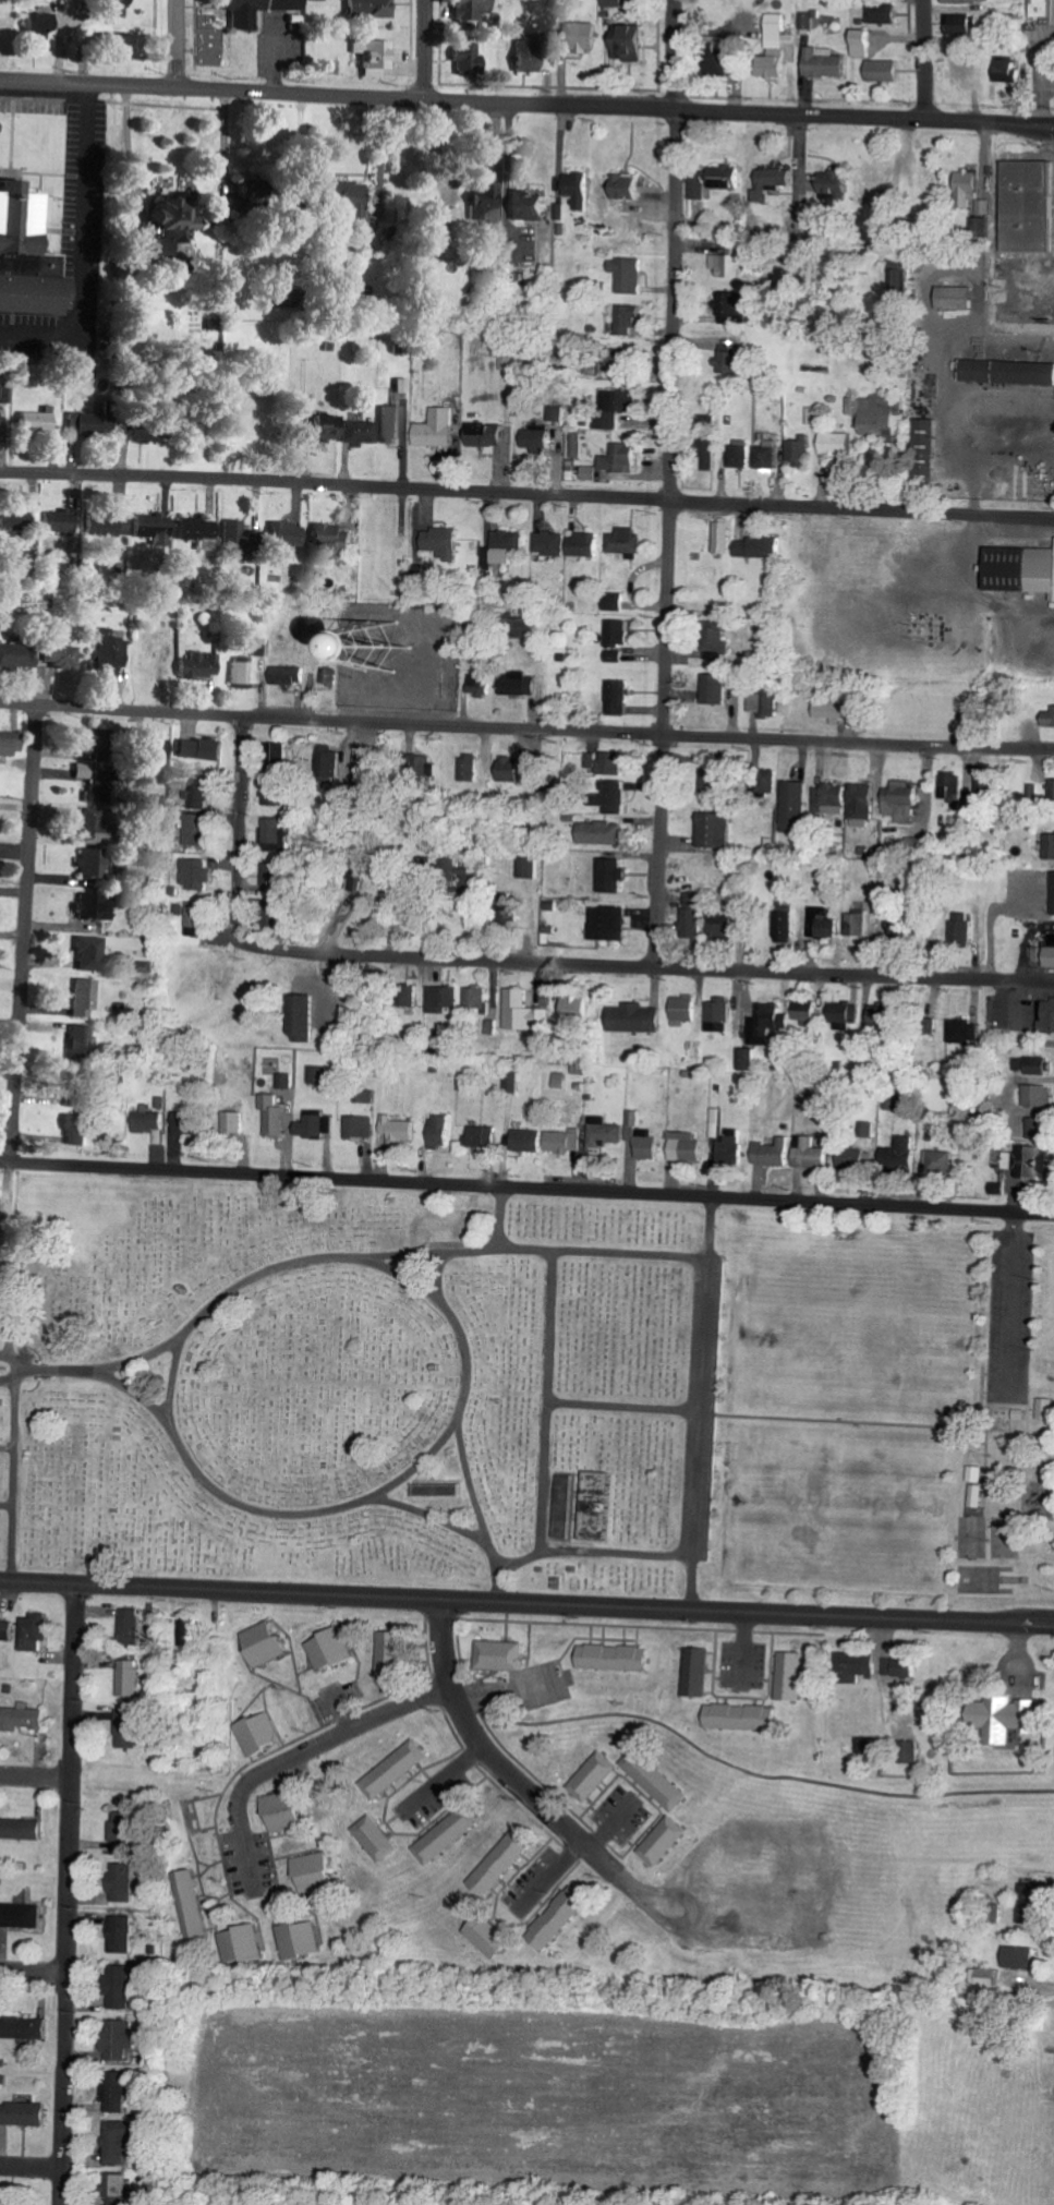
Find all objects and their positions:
building: (968, 1)
building: (121, 8)
building: (372, 9)
building: (1046, 9)
building: (475, 10)
building: (884, 15)
building: (244, 21)
building: (43, 24)
building: (967, 26)
building: (589, 32)
building: (122, 43)
building: (631, 43)
road: (175, 44)
building: (863, 44)
building: (777, 48)
road: (431, 49)
building: (377, 57)
building: (537, 57)
road: (922, 59)
building: (471, 60)
building: (725, 60)
building: (825, 63)
building: (1007, 70)
building: (884, 71)
road: (215, 89)
road: (742, 111)
building: (726, 178)
building: (772, 184)
building: (699, 186)
building: (837, 186)
building: (634, 189)
building: (257, 190)
building: (576, 196)
building: (347, 197)
building: (487, 206)
building: (531, 207)
building: (174, 224)
road: (82, 249)
building: (27, 256)
building: (731, 263)
building: (898, 274)
building: (629, 275)
building: (1004, 275)
building: (959, 298)
building: (735, 308)
building: (631, 321)
building: (504, 349)
building: (732, 363)
building: (1009, 373)
building: (616, 408)
building: (0, 414)
building: (882, 415)
building: (39, 421)
building: (94, 424)
building: (393, 424)
building: (329, 427)
building: (439, 429)
building: (141, 432)
building: (361, 432)
building: (488, 434)
building: (537, 439)
building: (578, 445)
building: (839, 445)
building: (932, 448)
building: (801, 453)
building: (712, 454)
building: (742, 455)
building: (771, 456)
building: (617, 461)
road: (227, 482)
road: (668, 483)
road: (754, 508)
building: (16, 519)
building: (61, 522)
building: (108, 525)
building: (156, 528)
building: (201, 532)
building: (289, 534)
building: (242, 535)
building: (336, 535)
building: (726, 538)
building: (445, 543)
building: (553, 543)
building: (628, 543)
building: (585, 544)
building: (760, 547)
building: (506, 549)
building: (1021, 569)
building: (617, 602)
building: (432, 638)
building: (619, 639)
building: (719, 640)
building: (263, 647)
building: (111, 653)
building: (20, 655)
building: (64, 655)
building: (202, 665)
building: (245, 673)
building: (290, 675)
building: (328, 676)
building: (481, 684)
building: (517, 684)
building: (717, 689)
building: (620, 698)
building: (764, 702)
building: (832, 710)
road: (215, 716)
building: (1050, 719)
road: (742, 737)
building: (12, 744)
building: (163, 748)
building: (204, 749)
building: (284, 755)
building: (330, 759)
building: (607, 763)
building: (362, 767)
building: (471, 768)
building: (99, 769)
building: (511, 773)
building: (547, 779)
building: (988, 787)
building: (952, 788)
building: (1053, 790)
building: (275, 791)
building: (204, 794)
building: (618, 797)
building: (832, 799)
building: (904, 800)
building: (864, 802)
building: (796, 804)
building: (98, 827)
building: (202, 830)
building: (716, 831)
building: (598, 833)
building: (277, 834)
road: (240, 839)
building: (1051, 846)
building: (90, 861)
building: (530, 867)
building: (197, 873)
building: (615, 876)
building: (275, 882)
building: (396, 900)
building: (97, 906)
building: (694, 917)
building: (197, 918)
building: (611, 923)
building: (824, 924)
building: (787, 927)
building: (858, 927)
building: (961, 927)
building: (897, 928)
road: (25, 933)
building: (93, 953)
building: (1045, 955)
road: (654, 966)
building: (478, 998)
building: (86, 999)
building: (445, 1000)
building: (580, 1009)
building: (686, 1010)
building: (521, 1011)
building: (807, 1012)
building: (841, 1013)
building: (719, 1015)
building: (1047, 1015)
building: (884, 1016)
building: (305, 1019)
building: (639, 1019)
building: (770, 1023)
building: (966, 1033)
building: (83, 1044)
building: (750, 1059)
building: (1035, 1065)
building: (287, 1081)
building: (1040, 1096)
building: (275, 1117)
building: (234, 1122)
building: (190, 1123)
building: (152, 1124)
building: (313, 1125)
building: (362, 1126)
building: (443, 1128)
building: (399, 1129)
building: (1041, 1129)
building: (80, 1130)
building: (605, 1133)
building: (483, 1137)
building: (530, 1141)
building: (566, 1141)
building: (732, 1147)
building: (690, 1149)
building: (791, 1154)
building: (901, 1155)
building: (857, 1159)
building: (945, 1159)
building: (1032, 1162)
road: (526, 1188)
road: (13, 1359)
road: (61, 1369)
road: (12, 1374)
road: (172, 1374)
park: (360, 1382)
road: (463, 1386)
building: (1046, 1409)
building: (980, 1486)
building: (439, 1491)
building: (566, 1507)
road: (37, 1577)
road: (565, 1598)
building: (133, 1624)
building: (8, 1631)
building: (37, 1632)
building: (267, 1643)
building: (332, 1650)
building: (393, 1652)
building: (504, 1655)
building: (617, 1658)
building: (861, 1666)
building: (902, 1667)
building: (700, 1673)
building: (793, 1677)
building: (131, 1678)
building: (744, 1718)
building: (1013, 1718)
building: (25, 1719)
building: (131, 1728)
building: (262, 1734)
road: (315, 1748)
road: (487, 1752)
building: (422, 1754)
building: (596, 1776)
road: (36, 1780)
building: (657, 1780)
building: (286, 1811)
building: (125, 1829)
building: (23, 1830)
building: (448, 1836)
building: (377, 1839)
building: (665, 1842)
building: (501, 1865)
building: (316, 1873)
building: (124, 1883)
road: (69, 1891)
building: (192, 1907)
building: (1033, 1907)
building: (22, 1916)
building: (560, 1917)
building: (123, 1935)
building: (488, 1937)
building: (301, 1940)
building: (243, 1945)
building: (1022, 1959)
road: (34, 1969)
building: (122, 1988)
building: (28, 2028)
building: (121, 2039)
building: (119, 2096)
building: (25, 2114)
building: (119, 2143)
road: (31, 2171)
building: (121, 2189)

